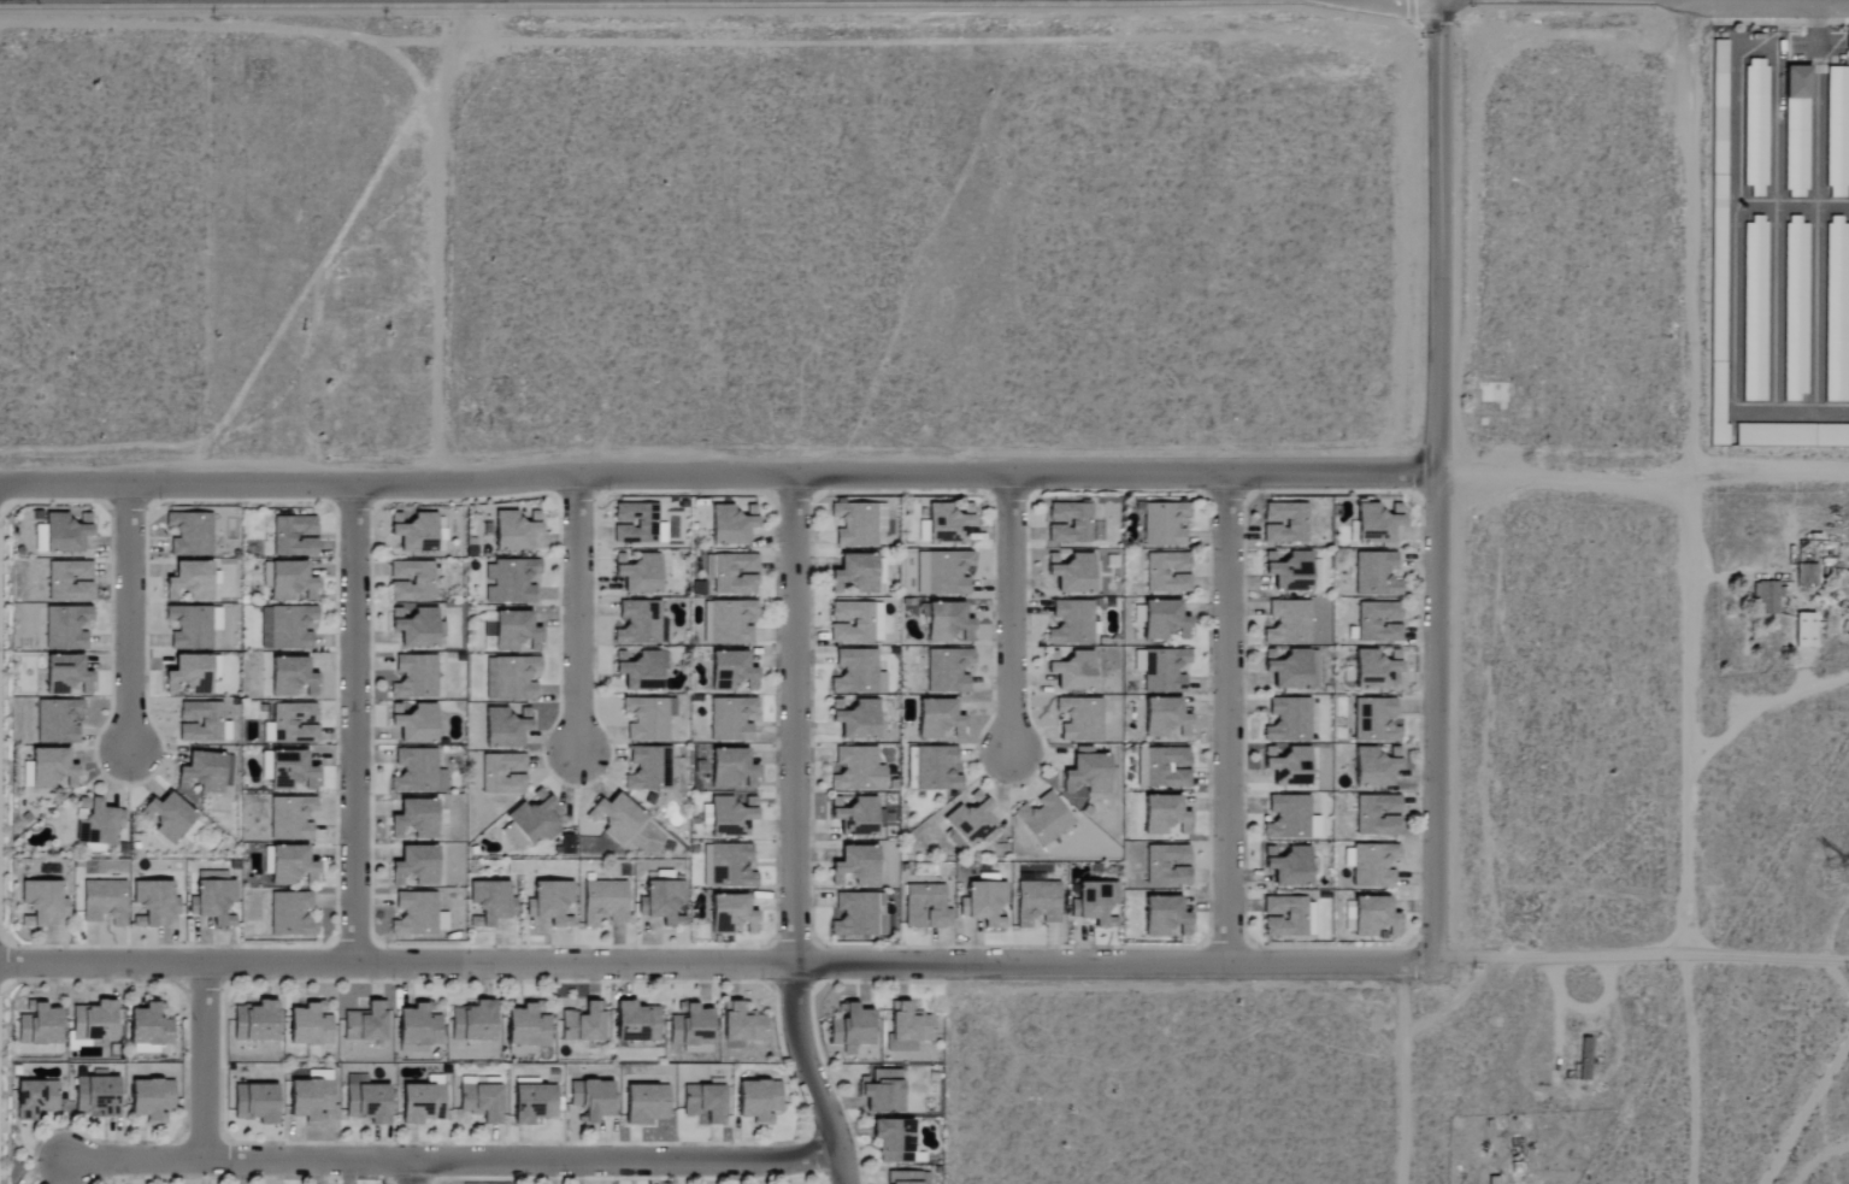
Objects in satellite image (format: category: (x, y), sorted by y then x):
building: (1756, 126)
road: (1776, 131)
building: (1797, 132)
building: (1837, 132)
road: (1816, 224)
road: (1733, 289)
building: (1796, 310)
building: (1755, 311)
building: (1837, 311)
road: (719, 481)
road: (1644, 481)
building: (948, 523)
building: (635, 524)
building: (1070, 524)
building: (1165, 524)
building: (1285, 524)
building: (1377, 524)
building: (731, 525)
building: (854, 525)
building: (514, 531)
building: (64, 534)
building: (418, 534)
building: (189, 535)
building: (294, 537)
building: (1288, 571)
building: (732, 573)
building: (943, 573)
building: (1072, 573)
building: (1167, 573)
building: (638, 575)
building: (1376, 575)
road: (1724, 575)
building: (859, 576)
building: (1807, 576)
building: (288, 581)
building: (70, 582)
building: (411, 582)
building: (512, 583)
road: (1437, 593)
building: (1766, 599)
road: (1008, 615)
road: (576, 618)
road: (128, 619)
building: (1164, 622)
building: (729, 623)
building: (855, 623)
building: (1379, 623)
building: (638, 624)
building: (947, 624)
building: (1071, 624)
building: (1289, 624)
building: (66, 628)
building: (414, 628)
building: (194, 629)
building: (285, 629)
building: (488, 630)
building: (1806, 631)
building: (516, 634)
building: (214, 667)
building: (640, 670)
building: (1071, 670)
building: (949, 671)
building: (1165, 671)
building: (1294, 671)
building: (731, 672)
building: (1374, 672)
building: (856, 673)
building: (65, 676)
building: (188, 677)
building: (292, 678)
building: (414, 678)
building: (511, 679)
road: (1772, 702)
building: (648, 719)
building: (732, 719)
building: (1165, 719)
building: (856, 720)
building: (1080, 720)
road: (1226, 720)
building: (57, 721)
building: (940, 721)
building: (1288, 721)
building: (1377, 721)
road: (353, 723)
building: (202, 724)
building: (414, 724)
building: (292, 725)
building: (505, 728)
road: (1710, 753)
building: (1289, 767)
building: (1376, 767)
building: (1164, 768)
building: (51, 770)
building: (648, 770)
building: (937, 770)
building: (732, 771)
building: (858, 771)
building: (206, 772)
building: (290, 772)
building: (417, 773)
building: (1087, 773)
building: (504, 774)
building: (1378, 815)
building: (731, 817)
building: (856, 817)
building: (1165, 817)
building: (167, 818)
building: (1288, 818)
building: (292, 819)
building: (614, 819)
building: (1044, 820)
building: (414, 821)
building: (96, 823)
building: (531, 823)
building: (972, 823)
building: (1315, 829)
road: (1685, 832)
road: (793, 836)
building: (290, 866)
building: (1168, 866)
building: (1373, 866)
building: (416, 867)
building: (729, 867)
building: (855, 867)
building: (1290, 867)
power tower: (1835, 879)
building: (213, 899)
building: (43, 902)
building: (105, 902)
building: (605, 903)
building: (666, 903)
building: (1038, 903)
building: (153, 905)
building: (490, 905)
building: (550, 905)
building: (984, 905)
building: (1096, 906)
building: (926, 907)
building: (293, 915)
building: (414, 915)
building: (731, 915)
building: (860, 915)
building: (1166, 919)
building: (1376, 919)
road: (924, 962)
building: (254, 1020)
building: (94, 1021)
building: (473, 1021)
building: (636, 1021)
building: (365, 1023)
building: (583, 1023)
building: (529, 1024)
building: (741, 1024)
building: (39, 1025)
building: (310, 1025)
building: (691, 1025)
building: (418, 1027)
building: (852, 1027)
building: (908, 1027)
building: (149, 1029)
building: (519, 1049)
road: (204, 1062)
building: (883, 1090)
building: (96, 1096)
building: (311, 1097)
building: (37, 1098)
building: (149, 1098)
building: (481, 1098)
building: (591, 1098)
building: (366, 1100)
building: (532, 1101)
building: (758, 1101)
building: (254, 1102)
building: (422, 1102)
building: (705, 1102)
building: (646, 1103)
road: (1808, 1117)
building: (894, 1139)
road: (452, 1162)
road: (411, 1173)
building: (907, 1178)

